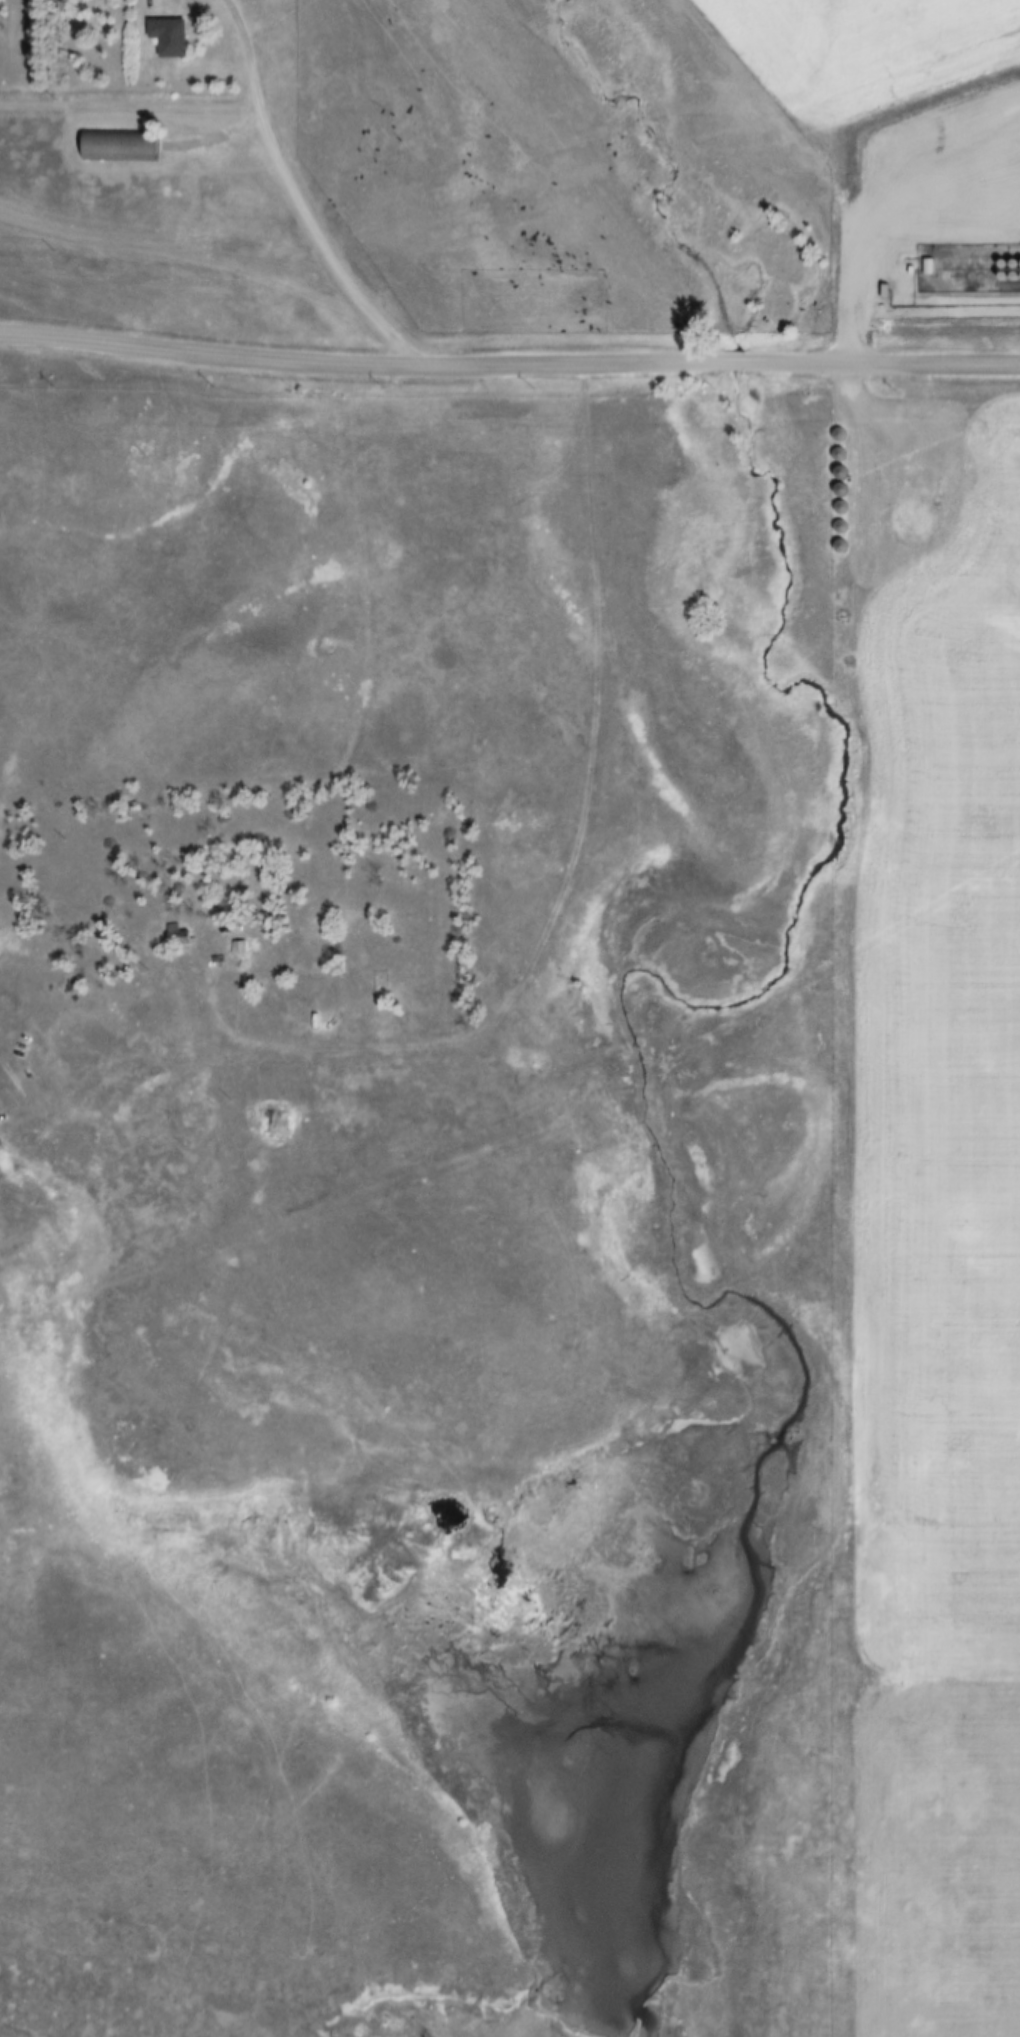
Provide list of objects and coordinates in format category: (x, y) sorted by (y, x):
building: (168, 35)
road: (131, 108)
building: (105, 143)
road: (299, 196)
road: (509, 361)
road: (570, 870)
building: (178, 935)
building: (238, 951)
building: (271, 1119)

